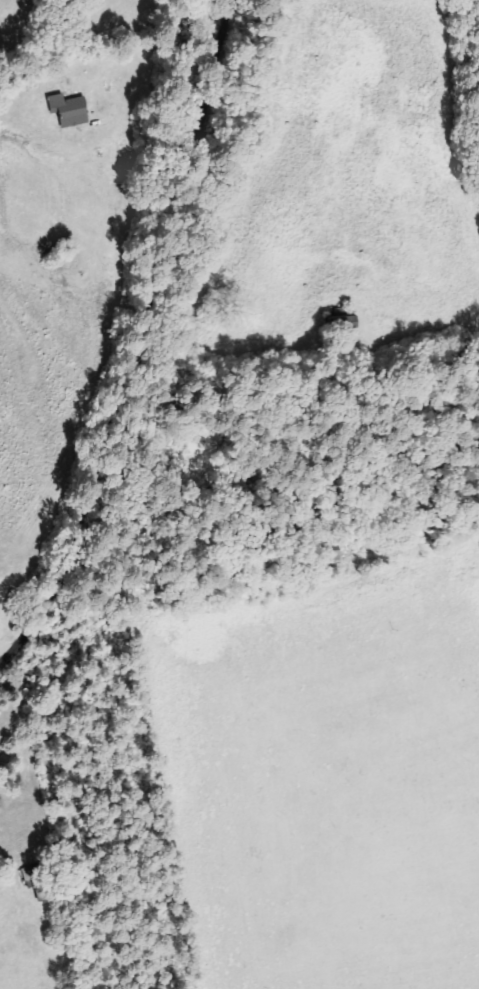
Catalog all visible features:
building: (72, 110)
road: (133, 341)

